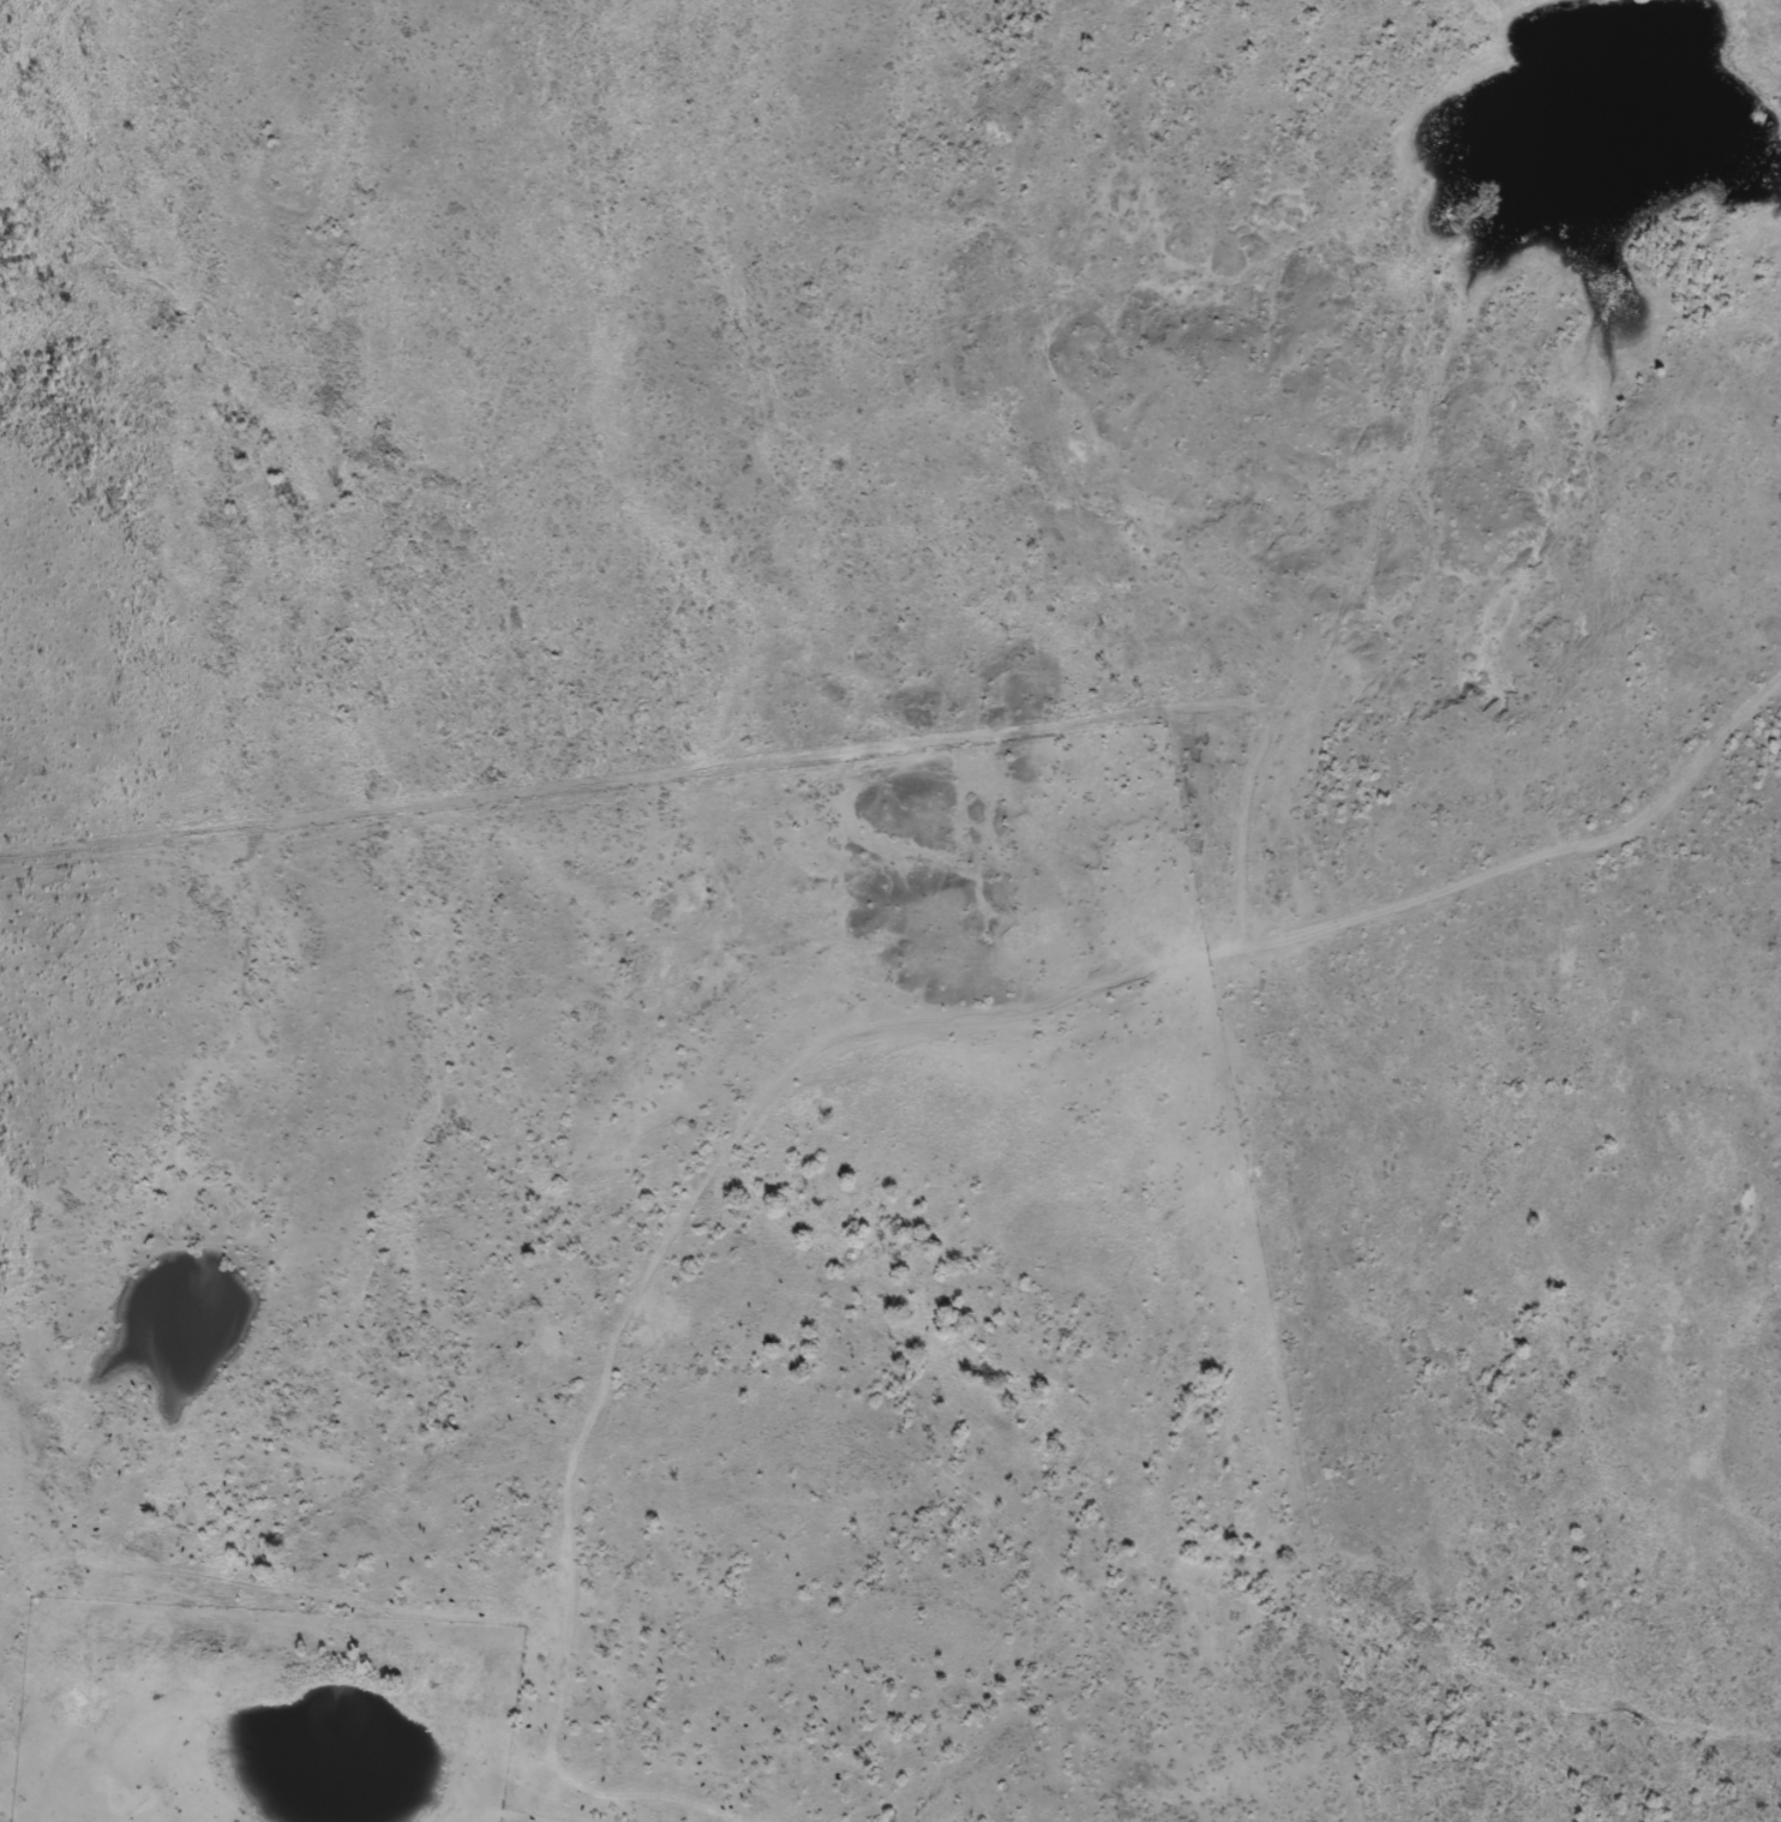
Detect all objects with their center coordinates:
road: (929, 1057)
road: (17, 1817)

